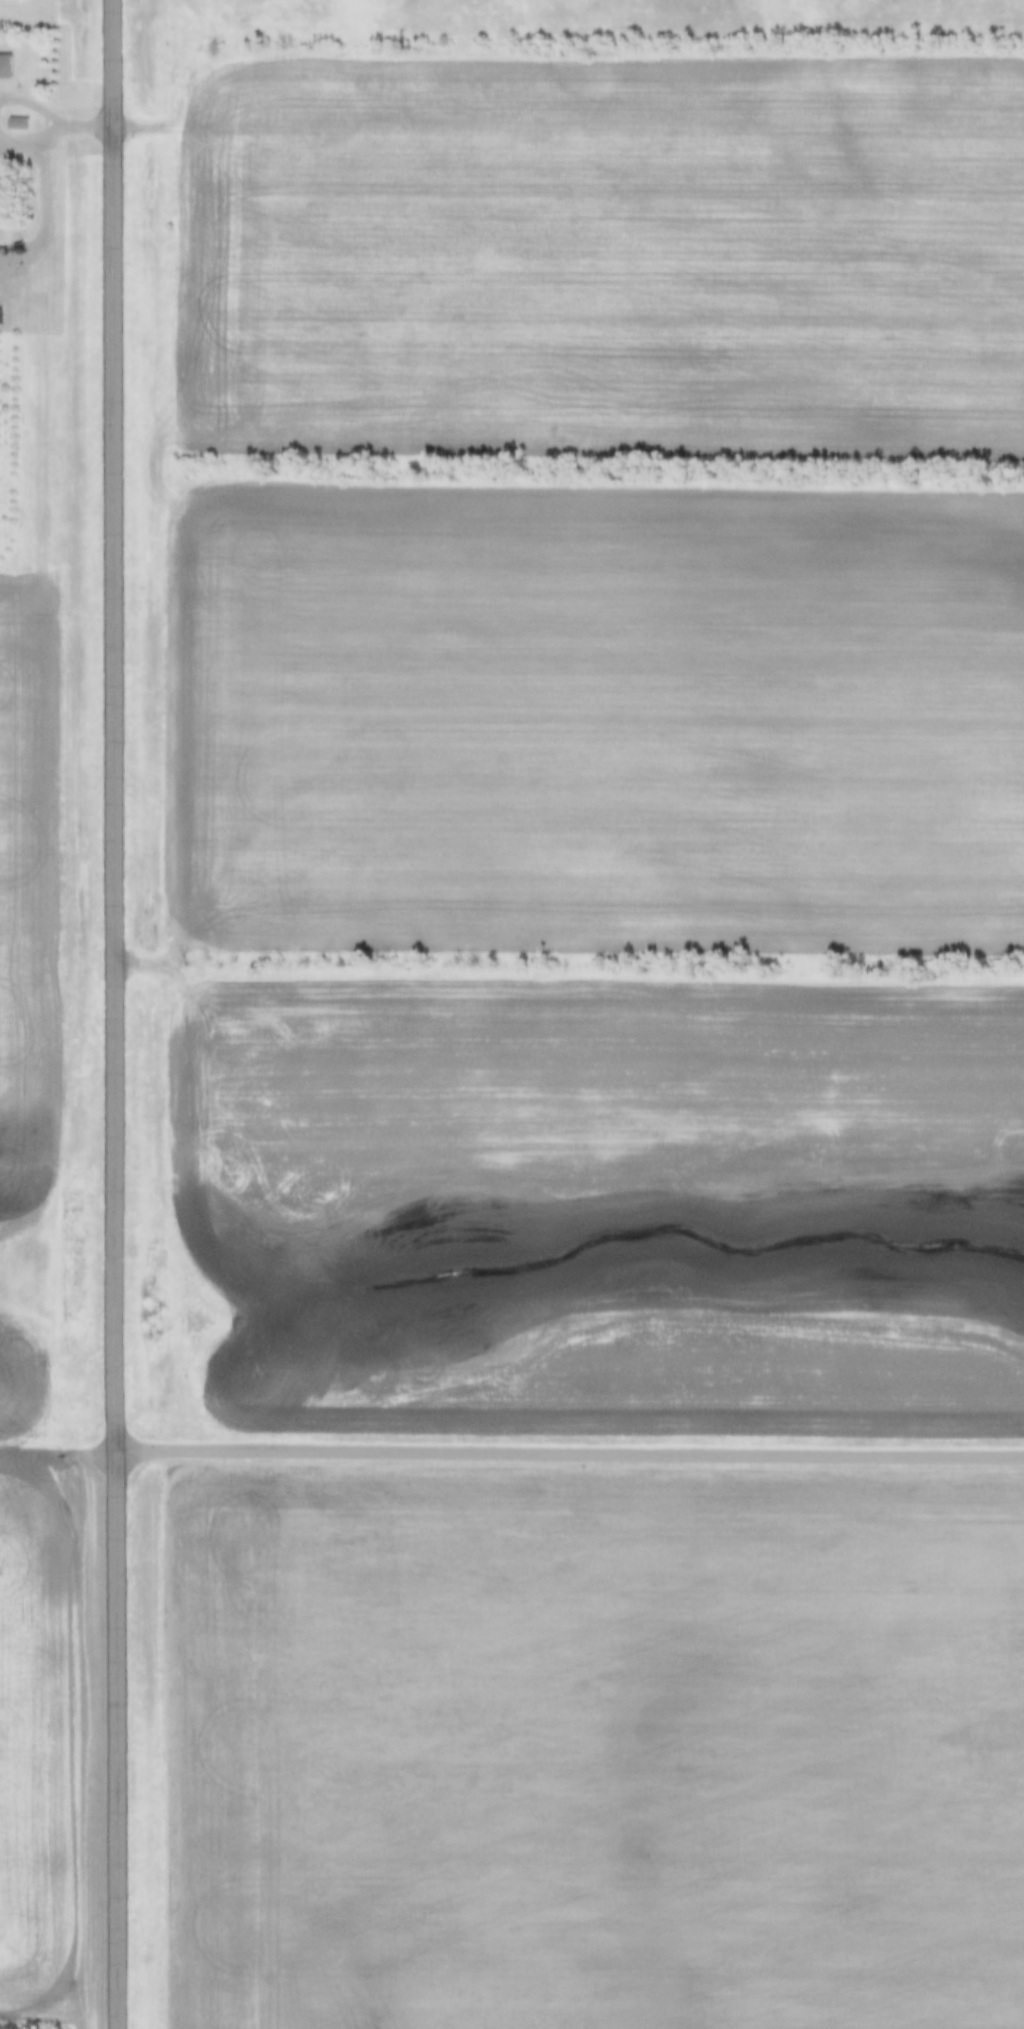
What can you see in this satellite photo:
building: (3, 67)
building: (15, 124)
road: (75, 124)
road: (18, 135)
road: (37, 201)
road: (116, 1014)
road: (570, 1456)
road: (58, 1459)

